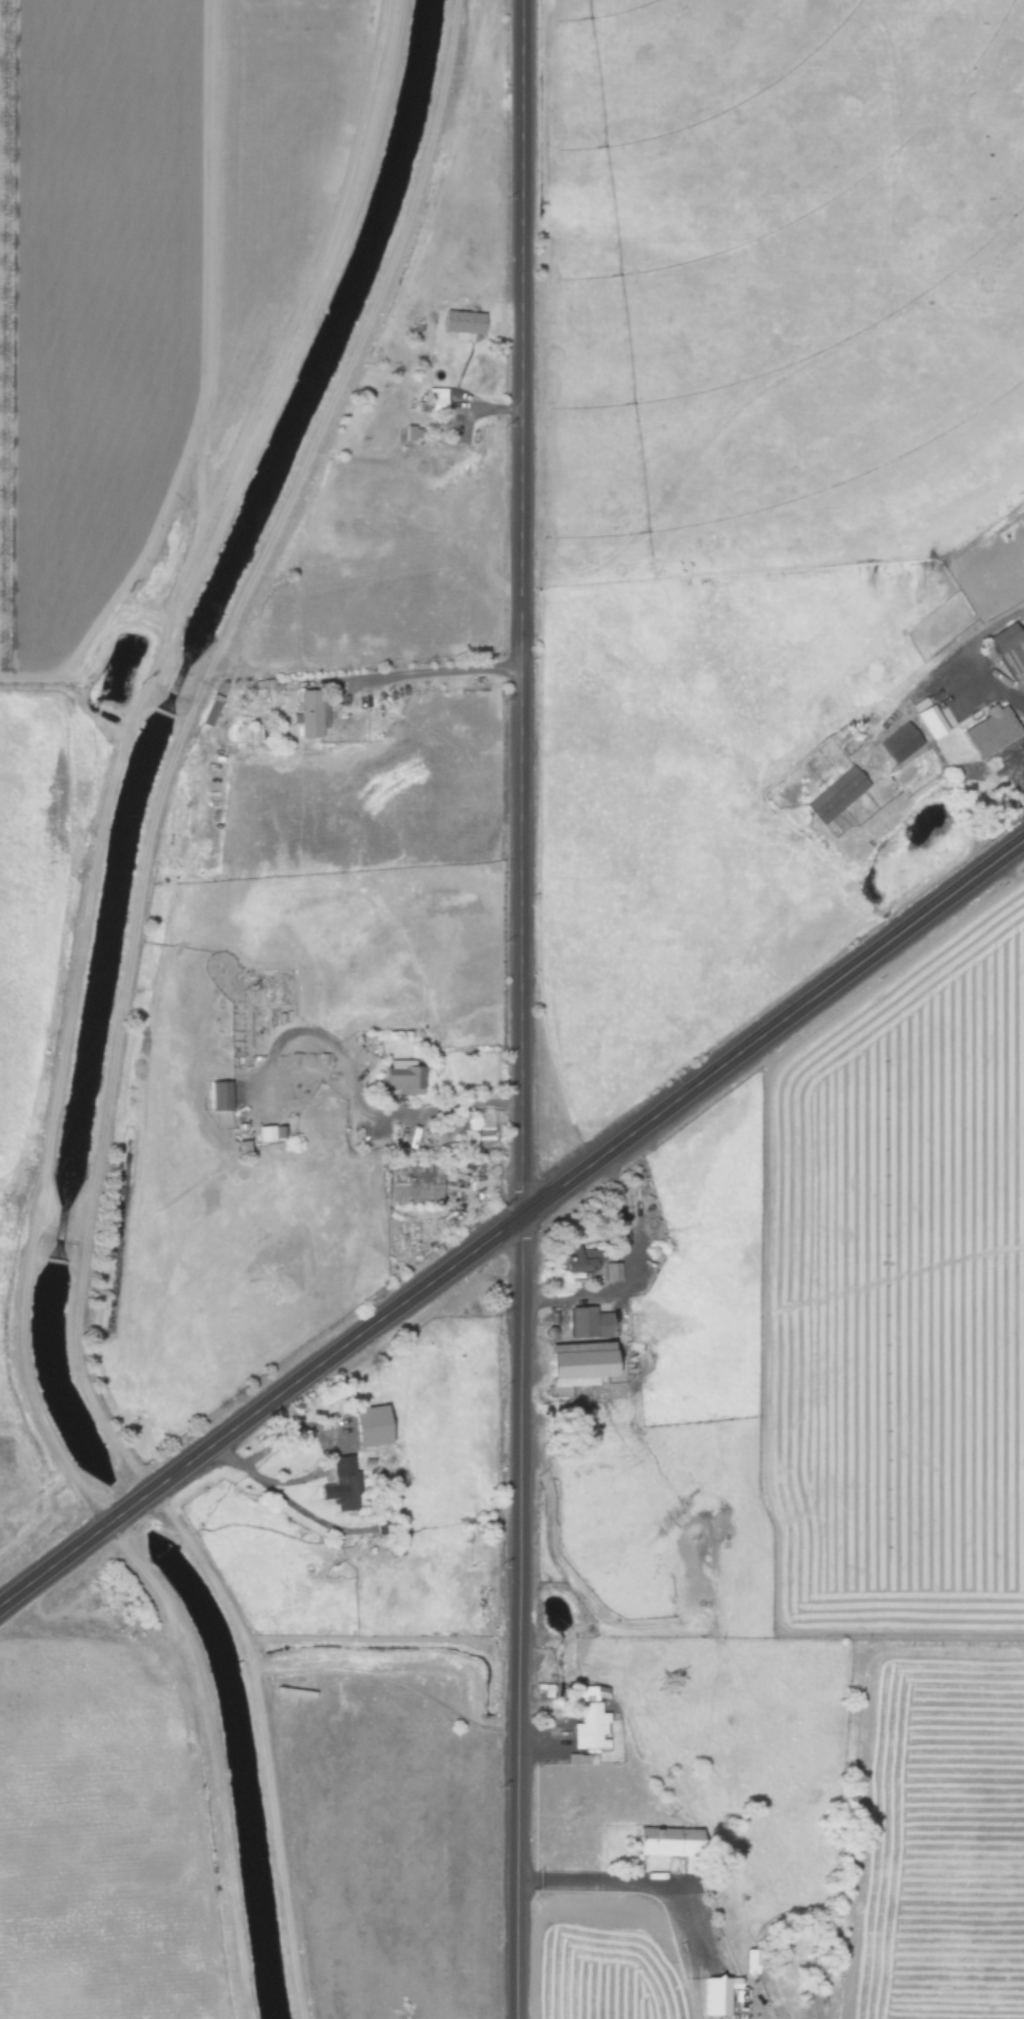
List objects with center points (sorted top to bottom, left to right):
crop: (281, 139)
building: (460, 321)
building: (408, 434)
crop: (93, 472)
building: (1009, 650)
road: (419, 665)
road: (981, 686)
building: (208, 710)
building: (310, 712)
building: (930, 720)
building: (988, 730)
road: (176, 734)
building: (898, 741)
building: (1014, 759)
building: (836, 793)
road: (66, 1008)
road: (522, 1009)
building: (400, 1079)
road: (358, 1095)
building: (214, 1096)
building: (260, 1133)
building: (412, 1182)
road: (510, 1220)
building: (587, 1263)
building: (586, 1322)
building: (573, 1363)
building: (366, 1424)
building: (338, 1483)
building: (385, 1519)
crop: (809, 1554)
building: (587, 1727)
building: (662, 1841)
road: (625, 1886)
building: (747, 1960)
building: (714, 1993)

